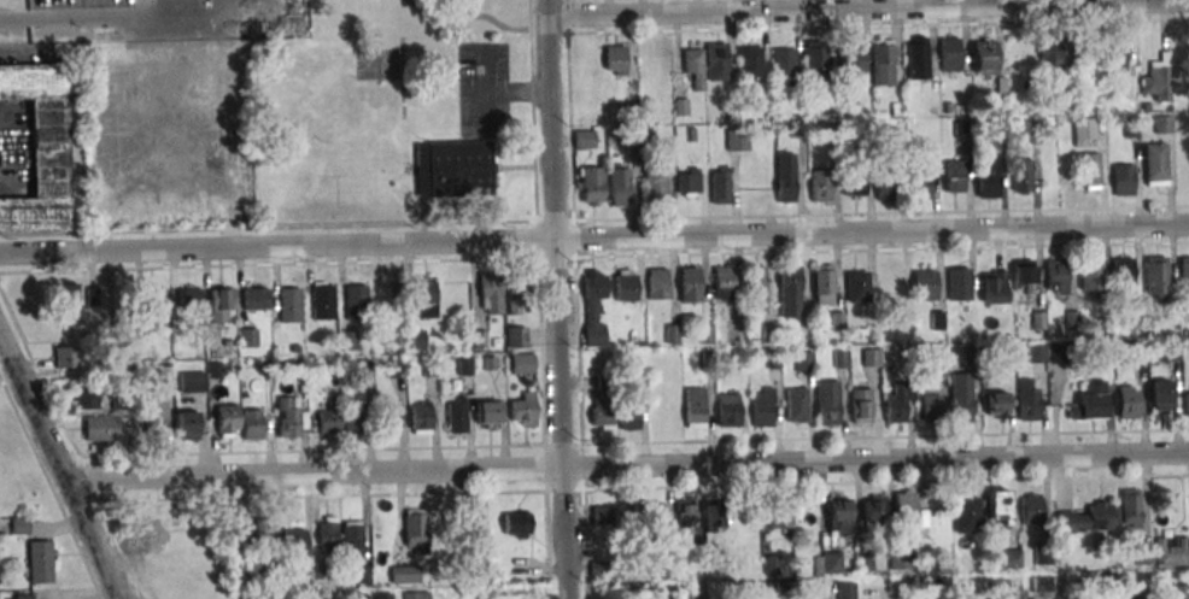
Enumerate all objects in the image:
road: (838, 7)
park: (408, 14)
road: (110, 17)
building: (1083, 48)
building: (948, 53)
building: (1050, 53)
building: (1115, 54)
building: (984, 57)
building: (851, 59)
building: (915, 59)
building: (615, 60)
building: (716, 61)
building: (751, 61)
building: (815, 61)
building: (881, 63)
building: (784, 66)
building: (692, 70)
building: (1156, 80)
building: (1162, 124)
building: (1030, 131)
building: (1084, 131)
building: (585, 140)
building: (40, 148)
building: (1154, 164)
building: (1086, 169)
building: (455, 170)
building: (951, 175)
building: (784, 176)
building: (1020, 176)
building: (985, 180)
building: (1121, 180)
building: (651, 182)
building: (687, 182)
building: (918, 182)
building: (853, 183)
building: (885, 183)
building: (590, 184)
building: (819, 184)
building: (717, 187)
building: (616, 189)
road: (594, 237)
building: (1154, 271)
building: (1089, 272)
building: (1121, 272)
building: (1183, 272)
building: (1055, 275)
building: (1023, 276)
building: (890, 277)
building: (821, 280)
building: (754, 281)
building: (787, 281)
building: (687, 282)
building: (721, 282)
building: (655, 283)
building: (956, 283)
building: (625, 284)
building: (924, 284)
building: (856, 286)
building: (992, 286)
building: (490, 293)
building: (66, 295)
building: (256, 298)
building: (427, 298)
building: (514, 299)
road: (560, 299)
building: (156, 300)
building: (189, 300)
building: (322, 301)
building: (356, 303)
building: (221, 304)
building: (289, 304)
building: (593, 307)
building: (515, 336)
building: (415, 339)
building: (348, 340)
building: (1036, 354)
building: (65, 357)
building: (871, 358)
building: (803, 360)
building: (522, 364)
building: (192, 382)
building: (86, 395)
building: (1160, 395)
building: (961, 397)
building: (1027, 399)
building: (1187, 400)
building: (897, 401)
building: (1127, 401)
building: (827, 403)
building: (1089, 403)
building: (995, 404)
building: (796, 405)
building: (860, 405)
building: (762, 406)
building: (693, 407)
building: (931, 407)
building: (523, 410)
building: (728, 410)
building: (627, 411)
building: (602, 412)
building: (490, 413)
building: (291, 415)
building: (457, 415)
building: (392, 416)
building: (154, 418)
building: (421, 418)
building: (328, 419)
building: (227, 421)
building: (353, 421)
building: (187, 424)
building: (252, 424)
building: (100, 428)
road: (629, 465)
road: (64, 466)
building: (998, 506)
building: (1031, 509)
building: (1129, 509)
building: (873, 510)
building: (778, 511)
building: (684, 513)
building: (908, 513)
building: (601, 516)
building: (838, 516)
building: (655, 518)
building: (725, 518)
building: (968, 518)
building: (1086, 518)
building: (623, 521)
building: (515, 524)
building: (19, 527)
building: (416, 527)
building: (262, 530)
building: (475, 532)
building: (327, 534)
building: (293, 539)
building: (351, 540)
building: (1171, 551)
building: (900, 559)
building: (39, 562)
building: (831, 562)
building: (404, 574)
building: (845, 589)
building: (416, 594)
building: (382, 595)
building: (23, 597)

